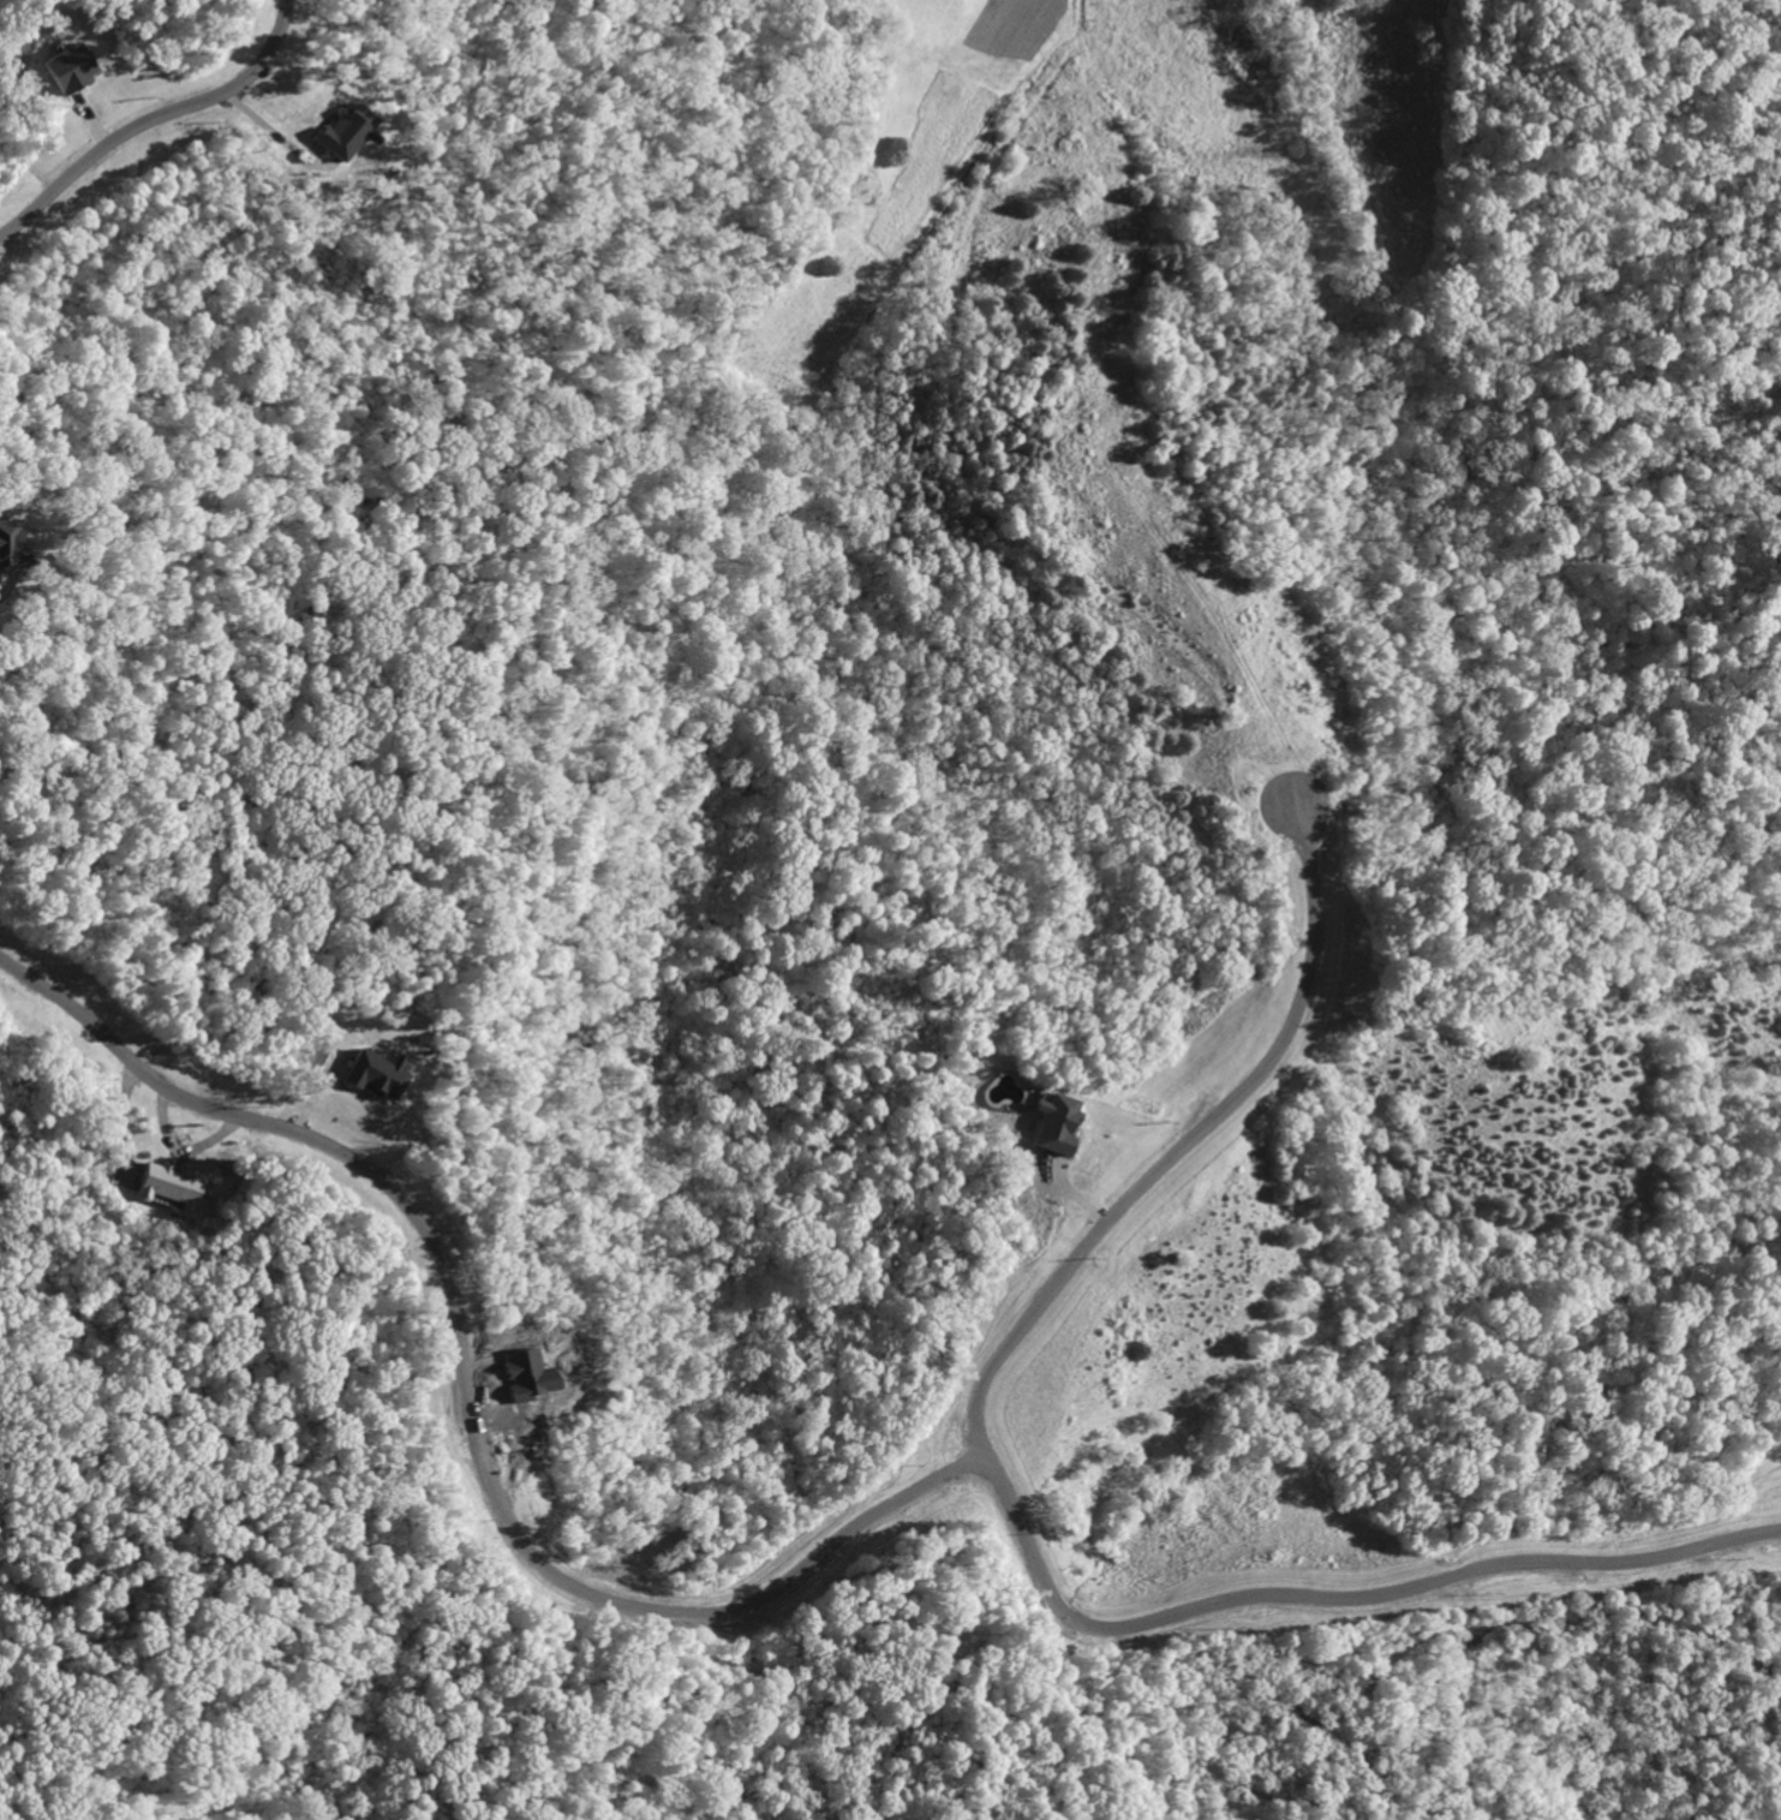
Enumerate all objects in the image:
building: (60, 70)
road: (151, 117)
building: (337, 132)
building: (4, 542)
building: (367, 1075)
building: (1050, 1124)
building: (168, 1191)
road: (1331, 1595)
road: (728, 1612)

